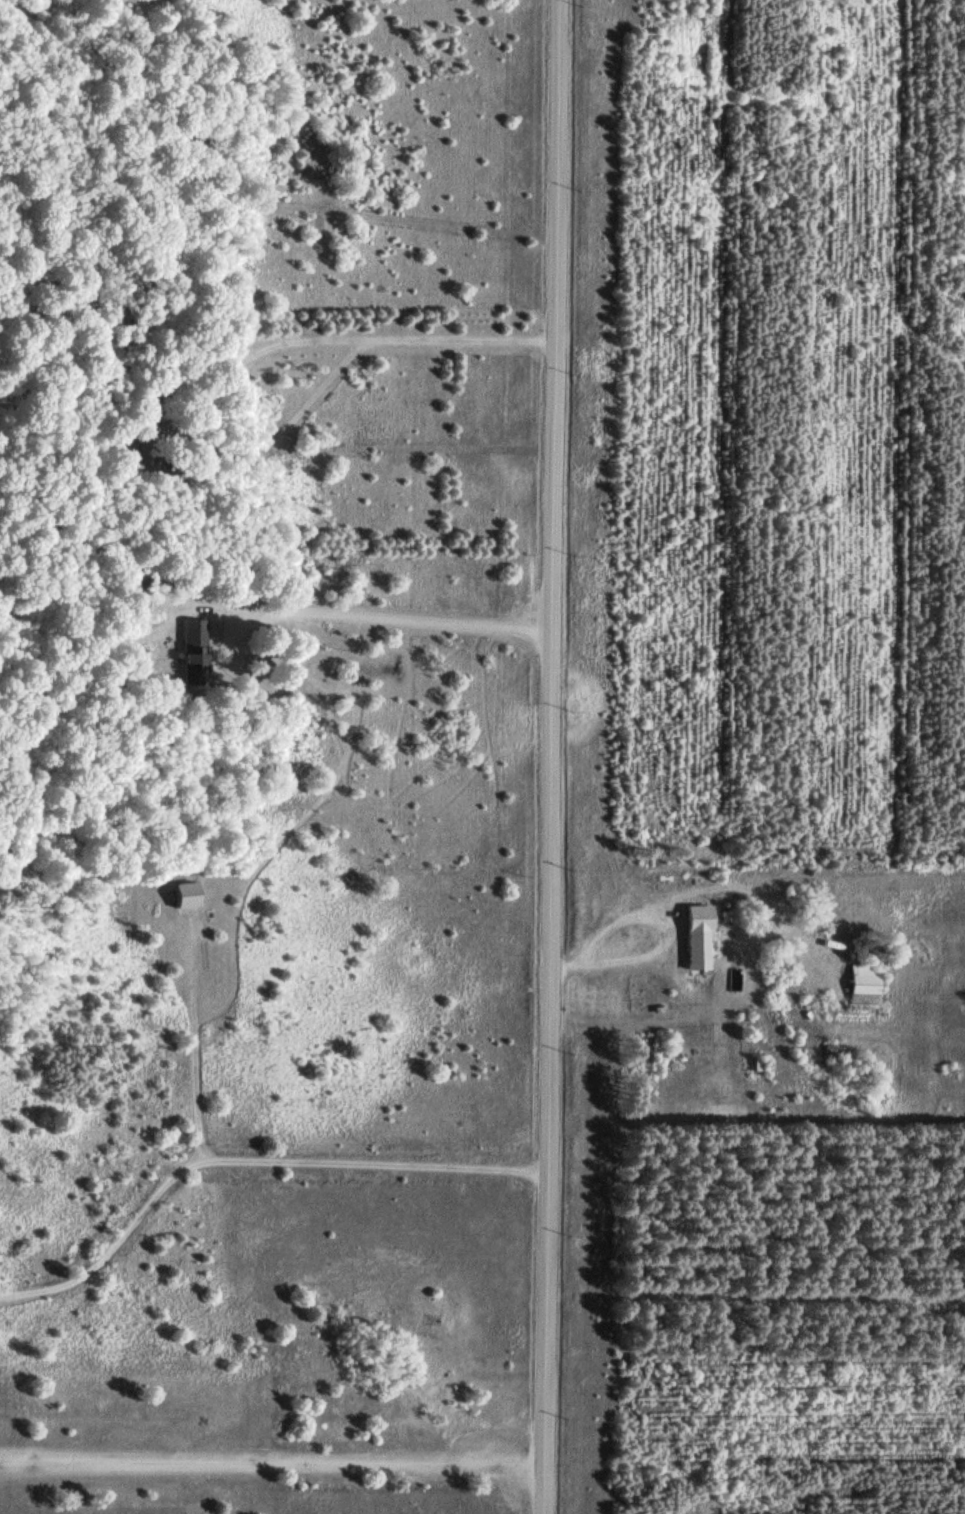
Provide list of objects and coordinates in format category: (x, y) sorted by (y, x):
building: (147, 415)
building: (193, 657)
road: (553, 757)
building: (181, 893)
building: (694, 935)
building: (864, 977)
road: (249, 1158)

